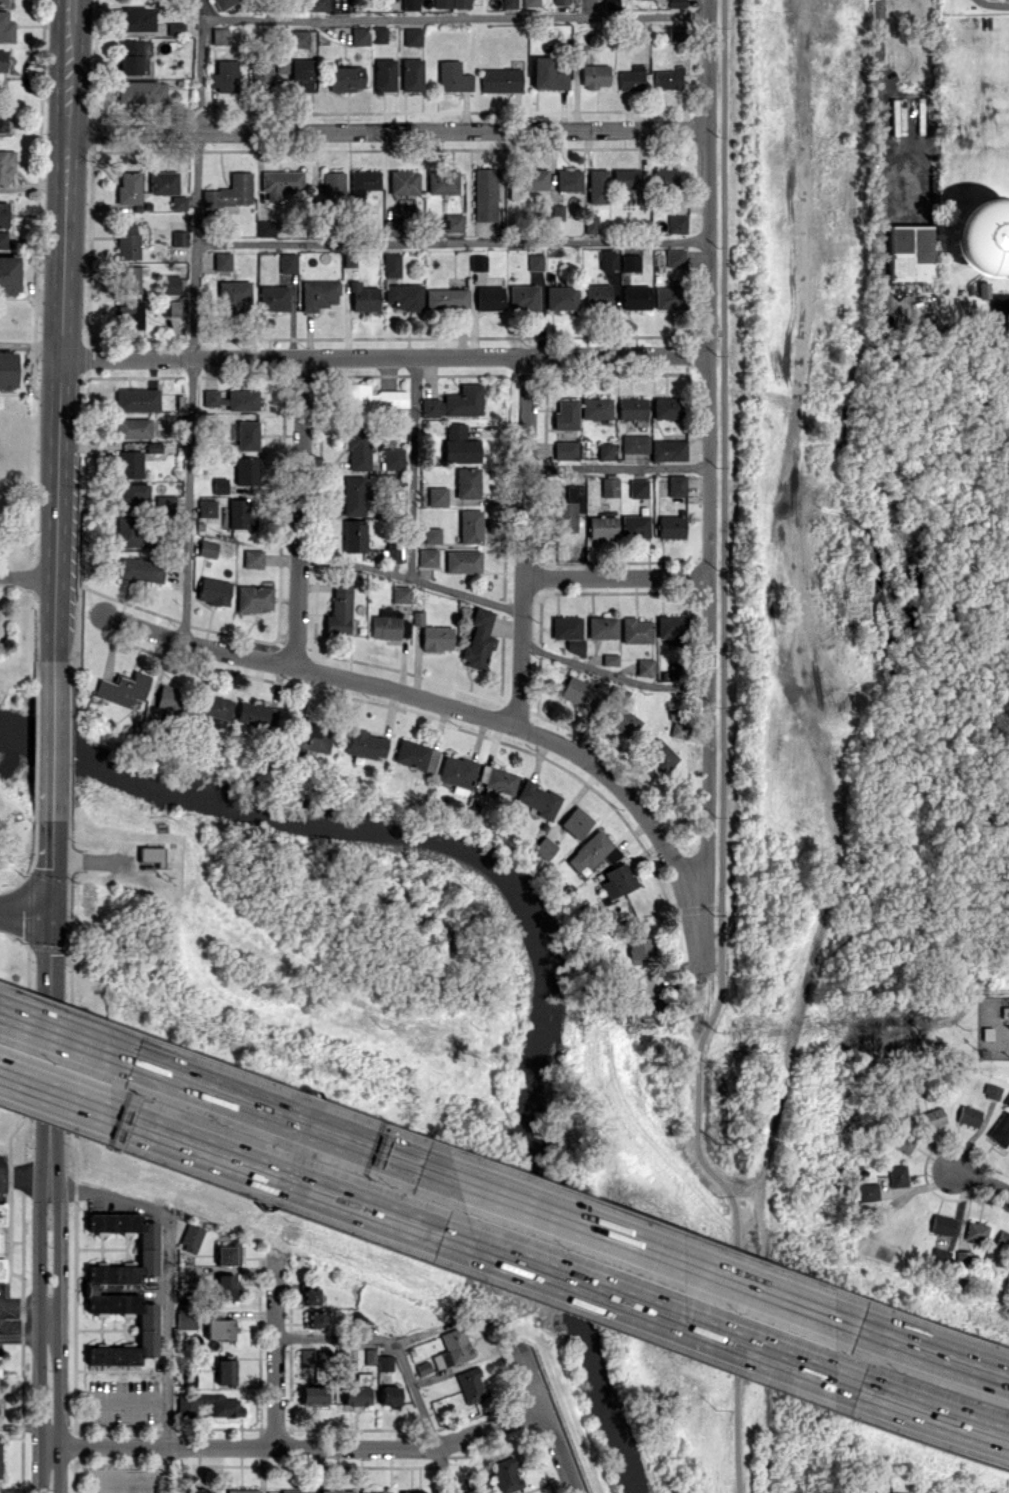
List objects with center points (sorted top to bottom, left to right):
building: (3, 2)
building: (560, 2)
building: (222, 3)
building: (337, 3)
building: (441, 3)
building: (460, 3)
building: (508, 3)
building: (530, 3)
building: (610, 3)
building: (676, 3)
road: (994, 3)
building: (317, 5)
building: (408, 5)
road: (71, 10)
road: (455, 17)
building: (136, 18)
building: (5, 28)
building: (174, 28)
building: (676, 32)
building: (378, 34)
building: (219, 35)
building: (359, 35)
building: (411, 36)
building: (299, 38)
building: (578, 53)
building: (131, 56)
building: (2, 60)
building: (279, 65)
building: (260, 74)
building: (411, 74)
building: (547, 74)
building: (224, 75)
building: (300, 75)
building: (383, 75)
building: (594, 75)
building: (452, 76)
building: (345, 78)
building: (631, 78)
building: (668, 78)
building: (500, 80)
building: (141, 91)
road: (881, 97)
road: (387, 130)
building: (6, 165)
building: (663, 177)
building: (625, 178)
building: (568, 179)
building: (441, 181)
building: (527, 181)
building: (162, 182)
building: (280, 182)
building: (403, 182)
building: (362, 184)
building: (331, 185)
building: (597, 185)
building: (128, 188)
building: (230, 191)
building: (484, 194)
building: (556, 211)
building: (4, 214)
building: (449, 222)
building: (590, 223)
building: (676, 223)
building: (391, 227)
building: (264, 228)
building: (178, 237)
building: (3, 238)
building: (126, 241)
road: (451, 241)
water tower: (978, 242)
building: (908, 252)
building: (674, 257)
building: (607, 259)
building: (221, 260)
building: (286, 262)
building: (477, 262)
building: (534, 262)
building: (630, 262)
building: (391, 265)
building: (8, 274)
building: (127, 279)
building: (171, 284)
building: (318, 294)
building: (597, 294)
building: (233, 295)
building: (403, 296)
building: (522, 296)
building: (272, 297)
building: (362, 297)
building: (489, 297)
building: (560, 297)
building: (635, 297)
building: (667, 297)
building: (446, 298)
building: (171, 307)
road: (61, 314)
building: (129, 314)
road: (192, 320)
road: (30, 345)
road: (384, 358)
building: (7, 370)
building: (212, 398)
building: (136, 399)
building: (241, 399)
building: (369, 400)
building: (455, 402)
building: (595, 407)
building: (631, 407)
building: (666, 407)
building: (565, 413)
building: (132, 427)
building: (243, 434)
building: (634, 443)
building: (459, 444)
building: (151, 446)
building: (357, 448)
building: (565, 449)
building: (605, 450)
building: (668, 450)
building: (392, 458)
building: (129, 463)
road: (617, 467)
road: (412, 468)
building: (245, 470)
building: (467, 482)
building: (218, 485)
building: (676, 485)
road: (709, 485)
building: (609, 486)
building: (637, 488)
building: (130, 494)
building: (352, 495)
building: (438, 496)
building: (164, 504)
building: (570, 506)
building: (205, 507)
road: (299, 511)
building: (239, 512)
building: (469, 526)
building: (601, 526)
building: (634, 526)
building: (670, 526)
building: (127, 531)
building: (431, 534)
building: (352, 535)
road: (523, 541)
building: (206, 548)
building: (391, 554)
building: (427, 557)
building: (251, 558)
building: (462, 561)
building: (139, 569)
road: (27, 577)
road: (616, 577)
road: (411, 578)
building: (212, 590)
building: (400, 594)
building: (252, 597)
building: (338, 608)
building: (387, 624)
building: (602, 626)
building: (671, 626)
building: (635, 630)
building: (568, 632)
building: (435, 638)
building: (477, 639)
building: (609, 659)
building: (644, 667)
building: (674, 670)
road: (612, 673)
road: (51, 684)
building: (121, 689)
building: (580, 690)
building: (167, 699)
road: (436, 702)
building: (213, 709)
building: (253, 714)
building: (621, 715)
building: (678, 730)
building: (308, 734)
building: (363, 744)
railway: (745, 746)
road: (816, 750)
building: (660, 754)
road: (722, 754)
building: (414, 755)
building: (455, 773)
building: (495, 779)
building: (536, 799)
road: (49, 804)
building: (574, 822)
park: (4, 829)
building: (542, 848)
building: (591, 851)
building: (147, 855)
building: (615, 880)
road: (49, 882)
road: (694, 907)
road: (24, 914)
traffic signals: (49, 917)
river: (546, 917)
building: (638, 947)
road: (49, 955)
road: (696, 1009)
power substation: (991, 1028)
road: (64, 1037)
road: (49, 1066)
building: (909, 1084)
building: (991, 1090)
road: (63, 1099)
building: (1006, 1100)
building: (968, 1115)
building: (933, 1118)
road: (288, 1119)
building: (1000, 1130)
building: (905, 1140)
road: (0, 1172)
building: (897, 1175)
road: (24, 1177)
road: (739, 1178)
road: (982, 1181)
road: (297, 1185)
building: (867, 1192)
building: (2, 1214)
building: (942, 1224)
building: (977, 1230)
building: (191, 1237)
building: (1003, 1239)
road: (650, 1251)
building: (228, 1255)
building: (940, 1257)
building: (2, 1269)
building: (225, 1286)
building: (90, 1288)
road: (168, 1294)
building: (311, 1296)
road: (25, 1303)
road: (50, 1316)
building: (186, 1319)
building: (315, 1319)
road: (659, 1319)
building: (220, 1328)
road: (25, 1337)
building: (451, 1348)
road: (275, 1350)
road: (930, 1354)
building: (369, 1356)
building: (305, 1357)
building: (324, 1357)
building: (0, 1359)
building: (384, 1362)
road: (402, 1362)
building: (422, 1368)
building: (226, 1371)
building: (469, 1384)
building: (312, 1394)
building: (355, 1395)
building: (388, 1395)
road: (131, 1399)
building: (226, 1409)
road: (930, 1415)
road: (539, 1421)
road: (296, 1446)
building: (504, 1474)
building: (197, 1491)
building: (242, 1491)
building: (293, 1491)
building: (335, 1491)
building: (373, 1491)
building: (412, 1492)
building: (898, 1492)

